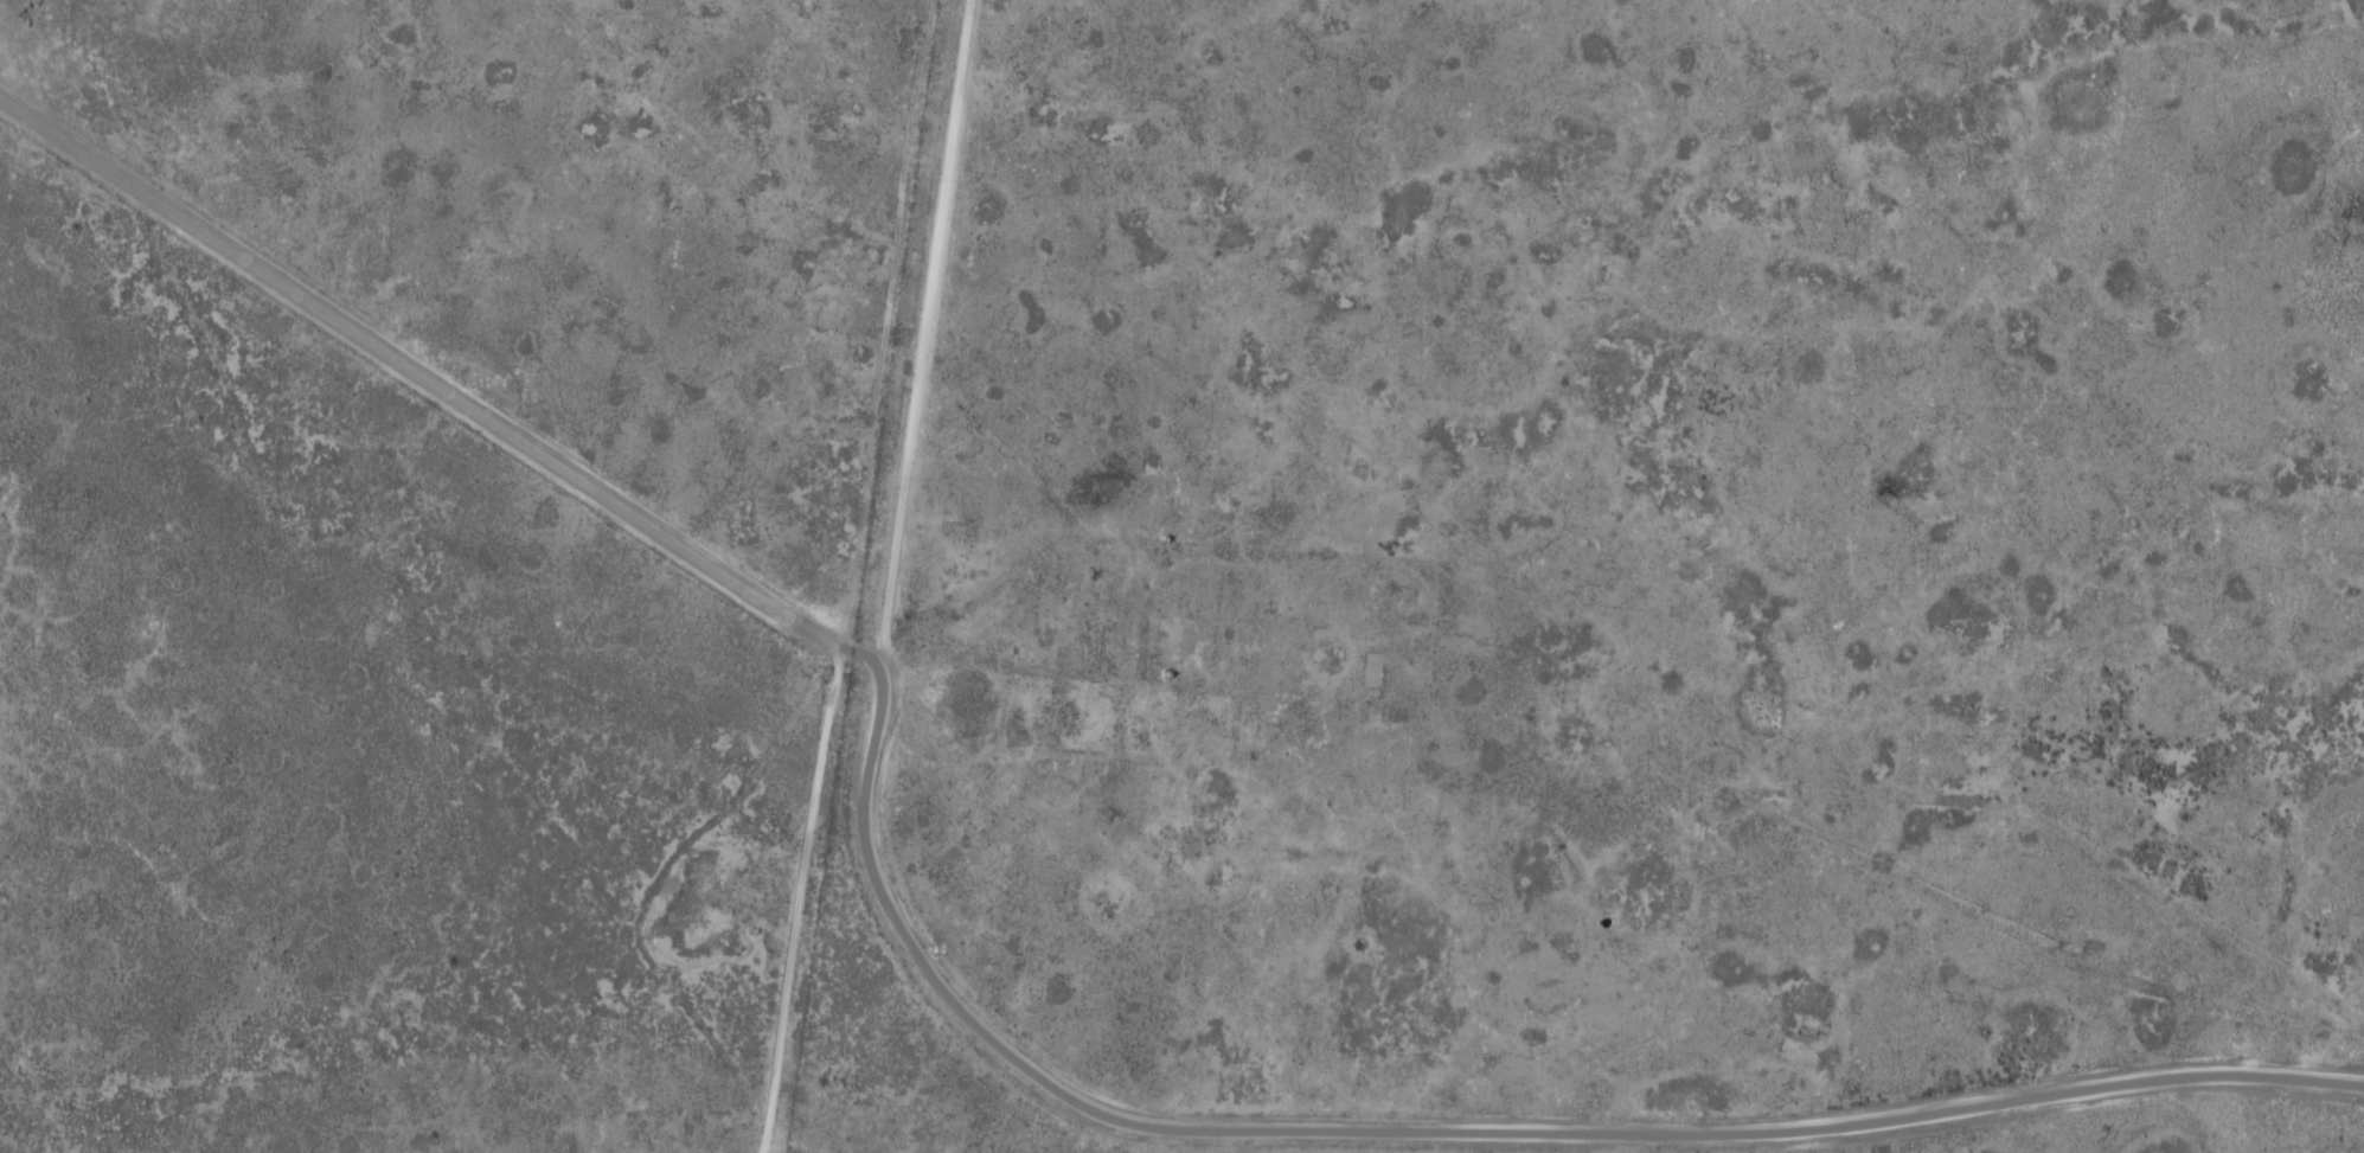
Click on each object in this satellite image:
road: (427, 372)
road: (839, 664)
road: (1452, 1128)

